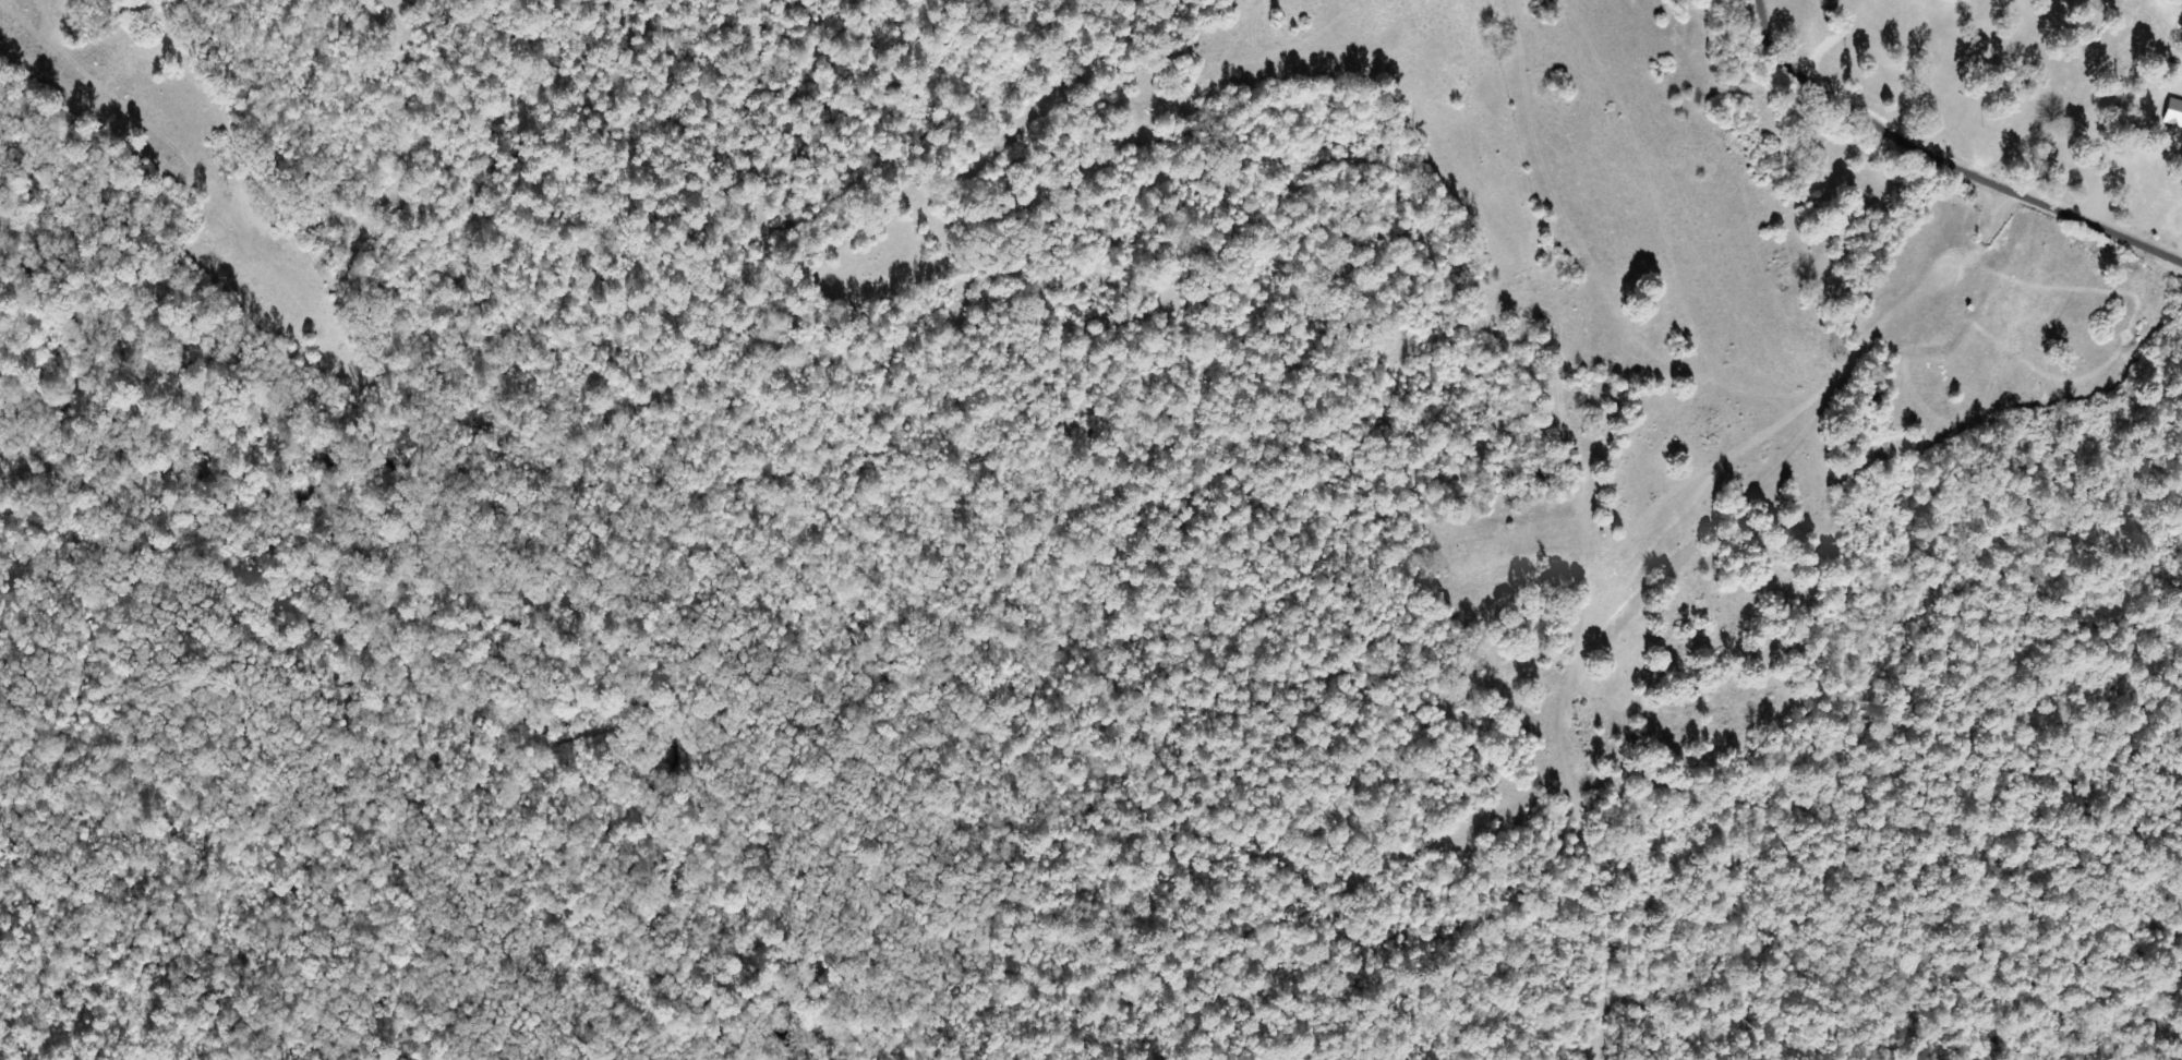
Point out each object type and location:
building: (2170, 113)
road: (1921, 189)

